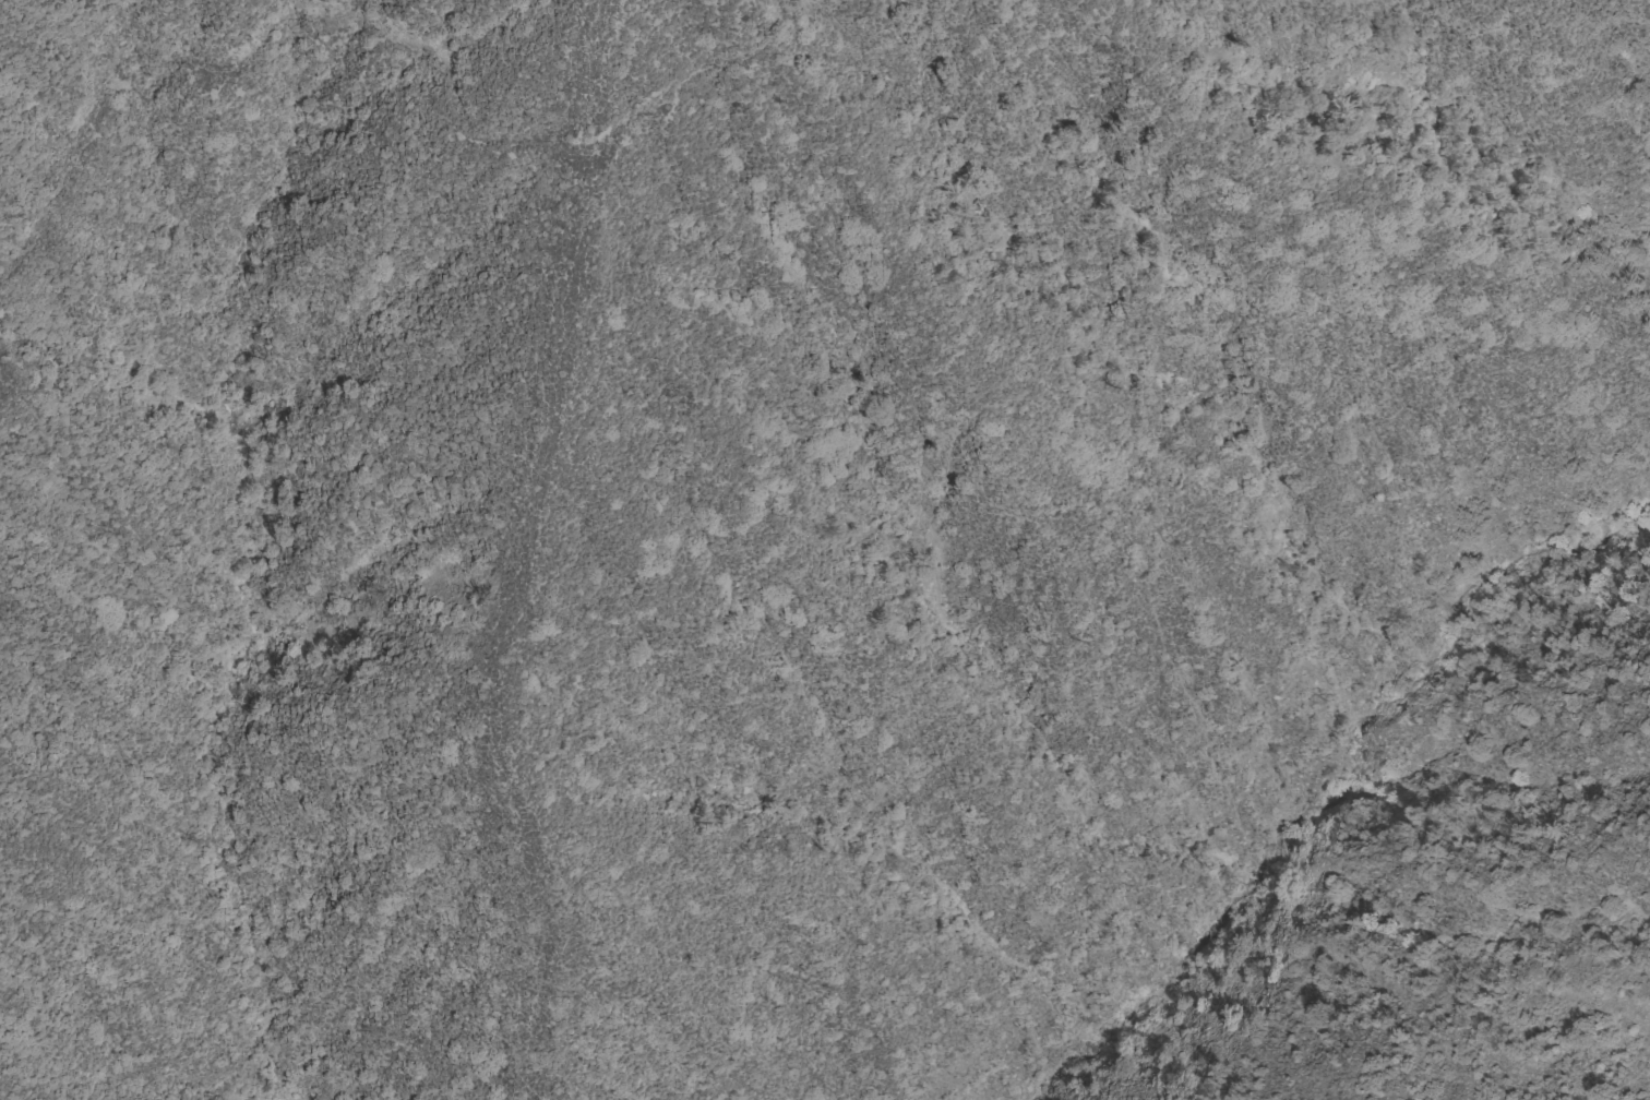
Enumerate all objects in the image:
road: (380, 49)

